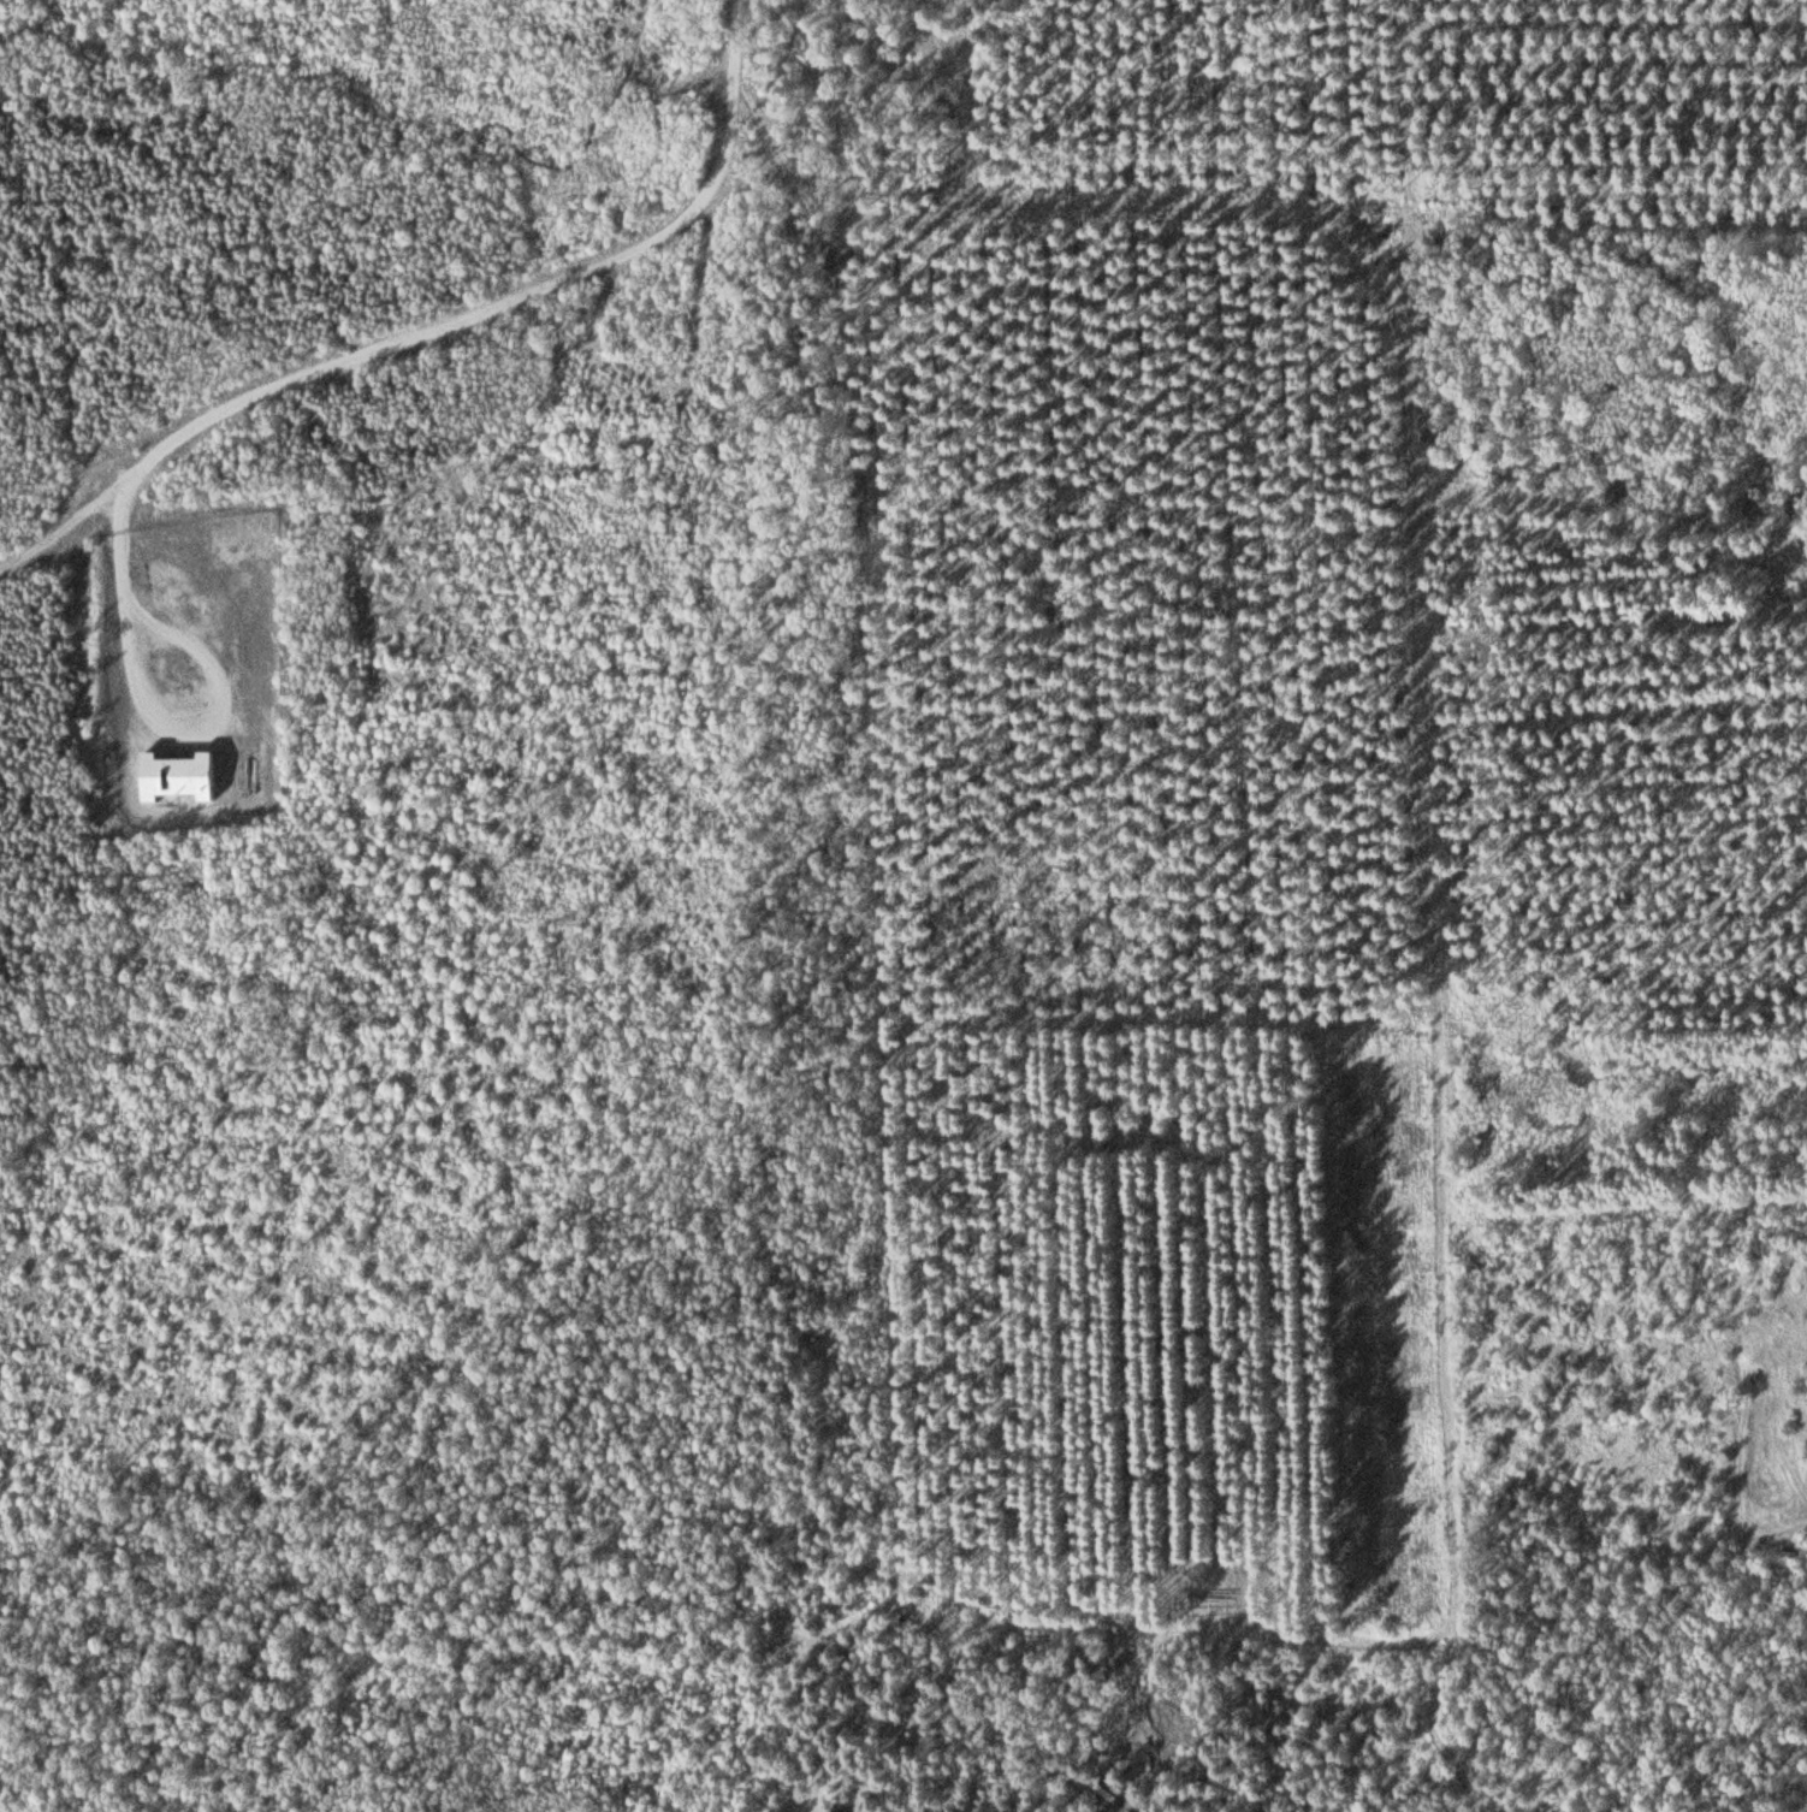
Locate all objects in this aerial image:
road: (314, 200)
road: (503, 295)
road: (55, 528)
building: (177, 777)
building: (1359, 1599)

